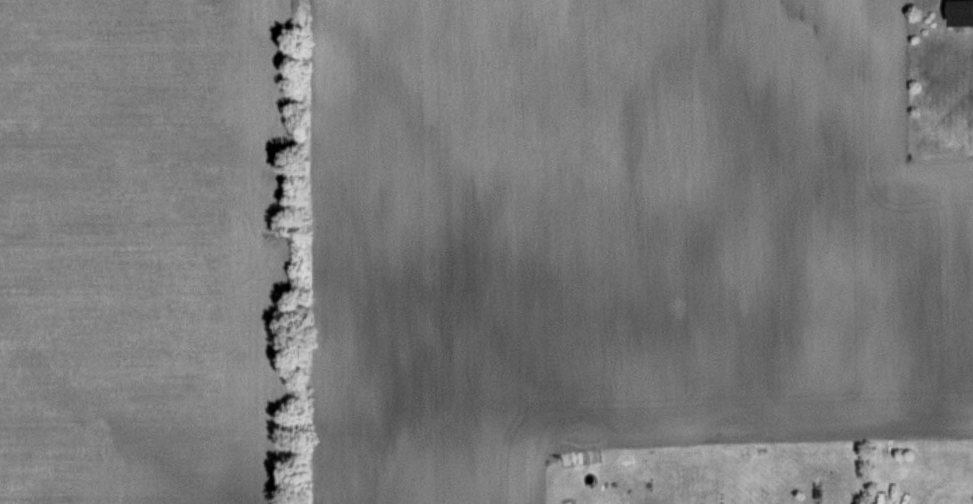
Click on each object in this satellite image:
building: (961, 13)

